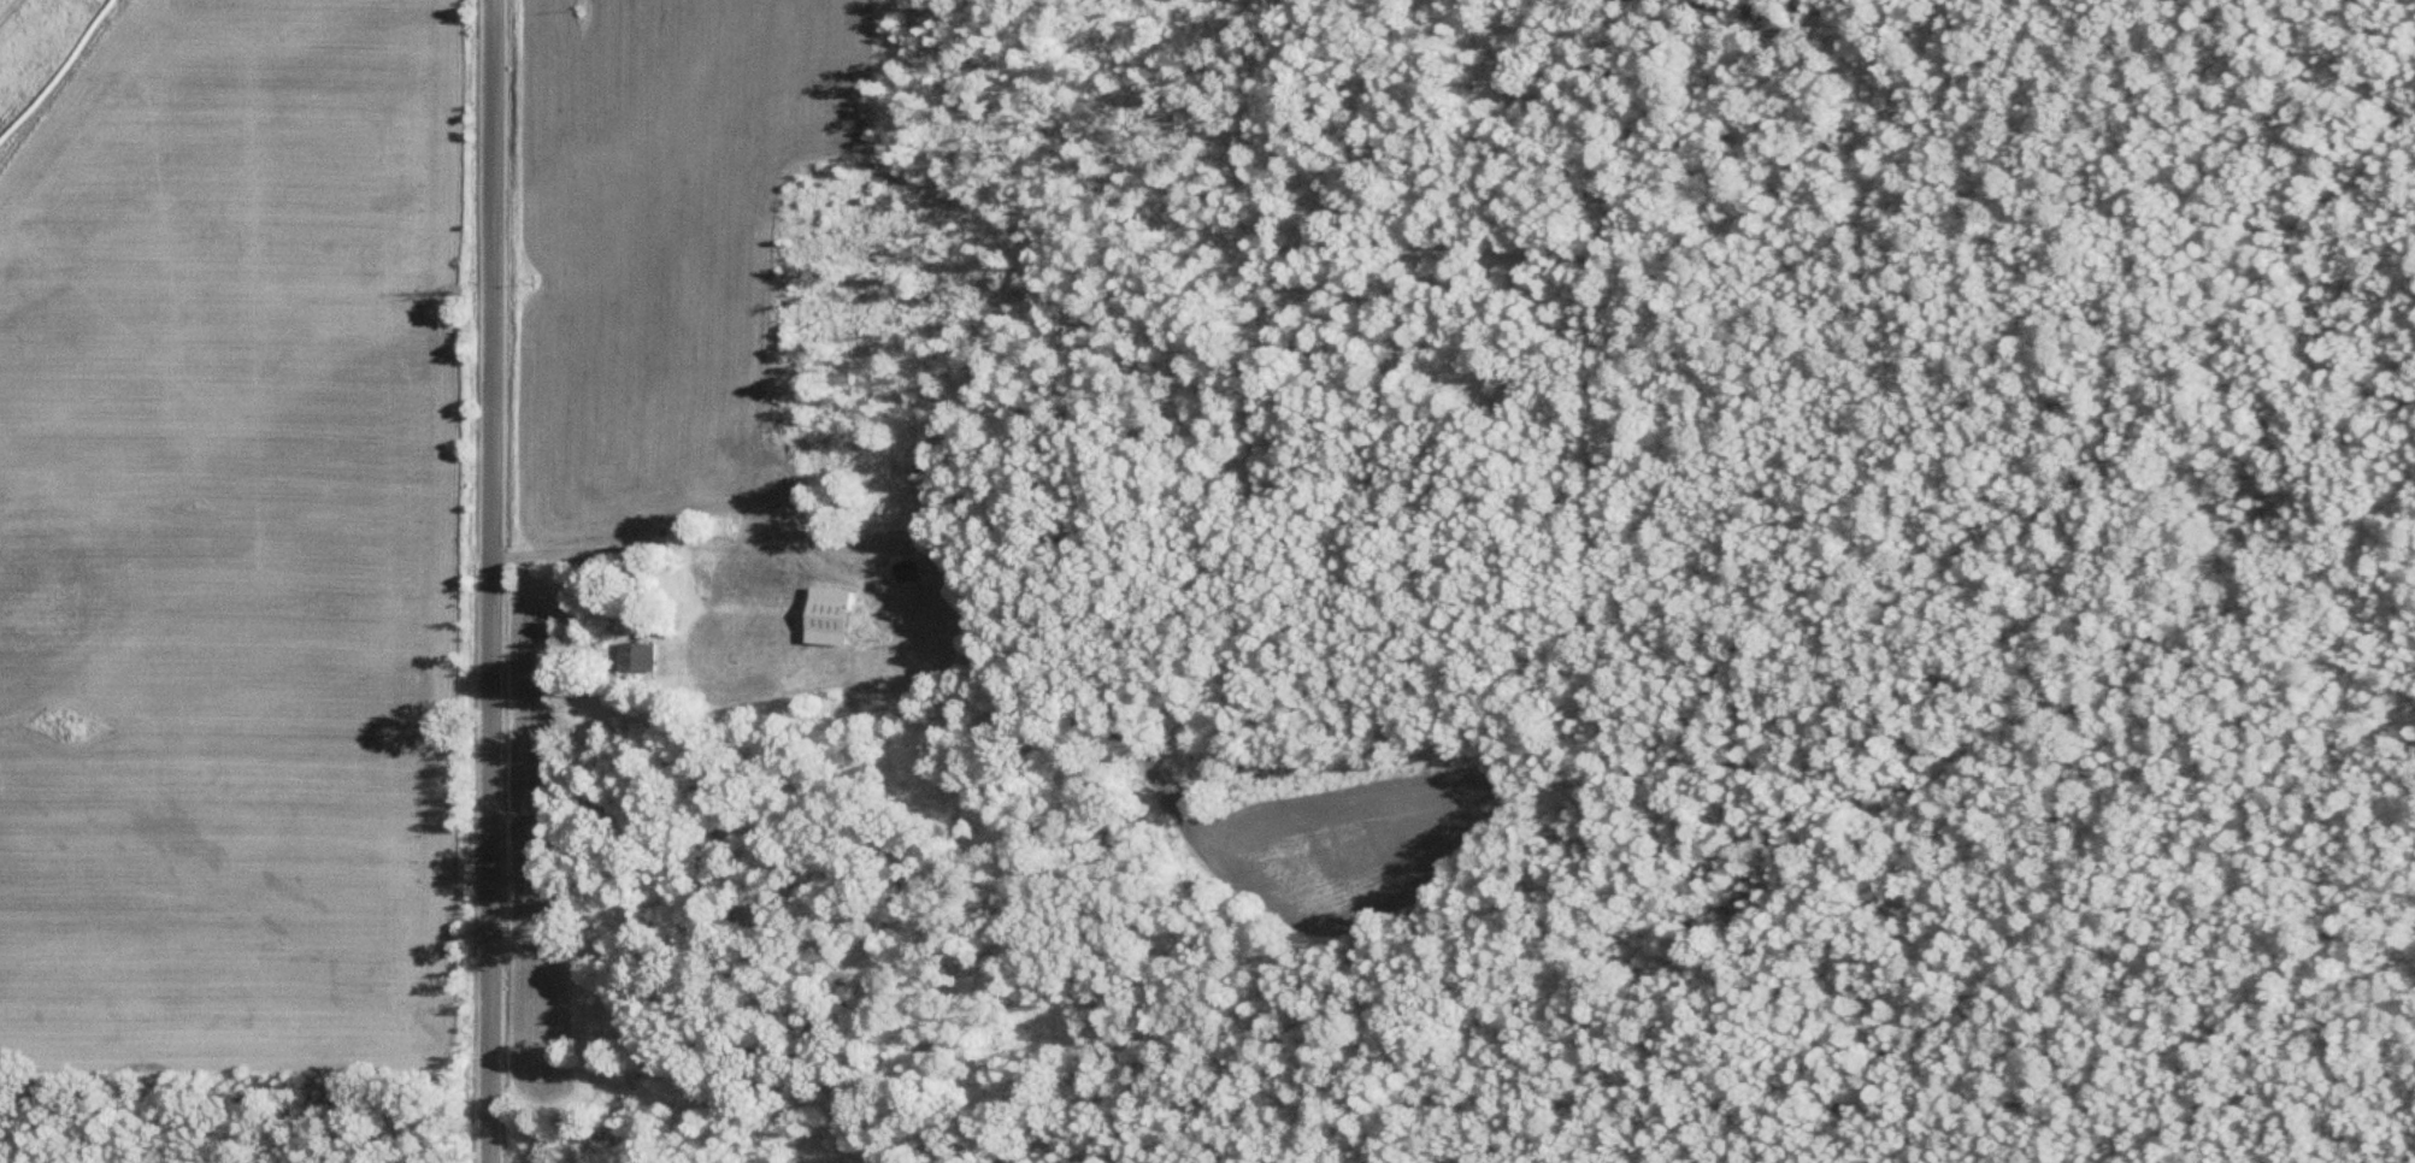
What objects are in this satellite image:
building: (913, 571)
road: (495, 581)
building: (838, 615)
building: (646, 656)

